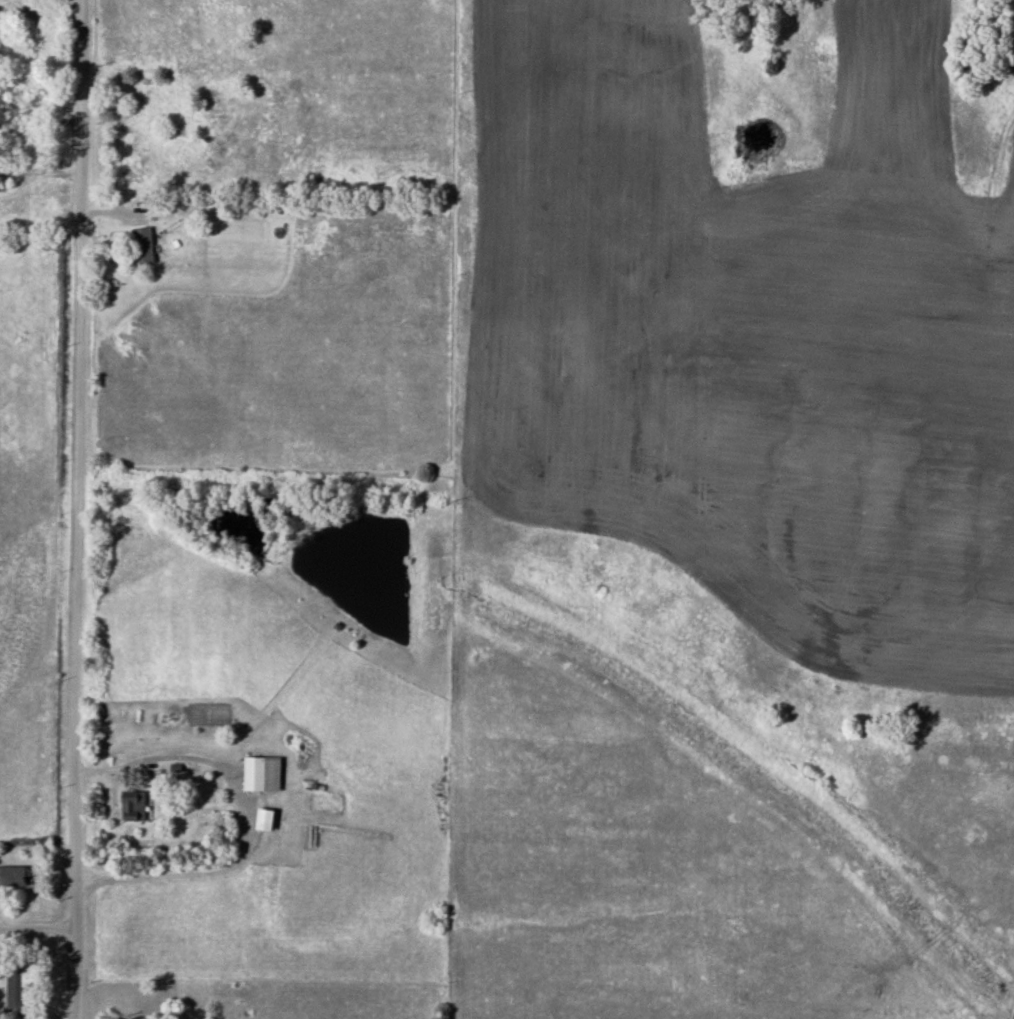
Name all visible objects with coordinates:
road: (34, 190)
building: (141, 247)
road: (69, 483)
building: (252, 775)
building: (132, 807)
road: (242, 825)
building: (14, 878)
road: (34, 930)
building: (16, 993)
road: (69, 993)

